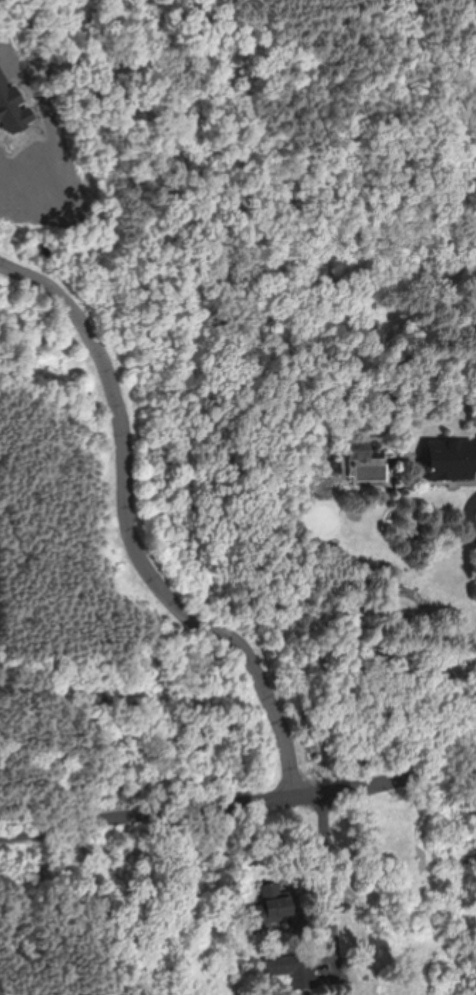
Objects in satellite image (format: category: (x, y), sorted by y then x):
building: (12, 107)
building: (451, 459)
road: (473, 516)
road: (130, 536)
road: (240, 806)
building: (277, 901)
building: (292, 969)

